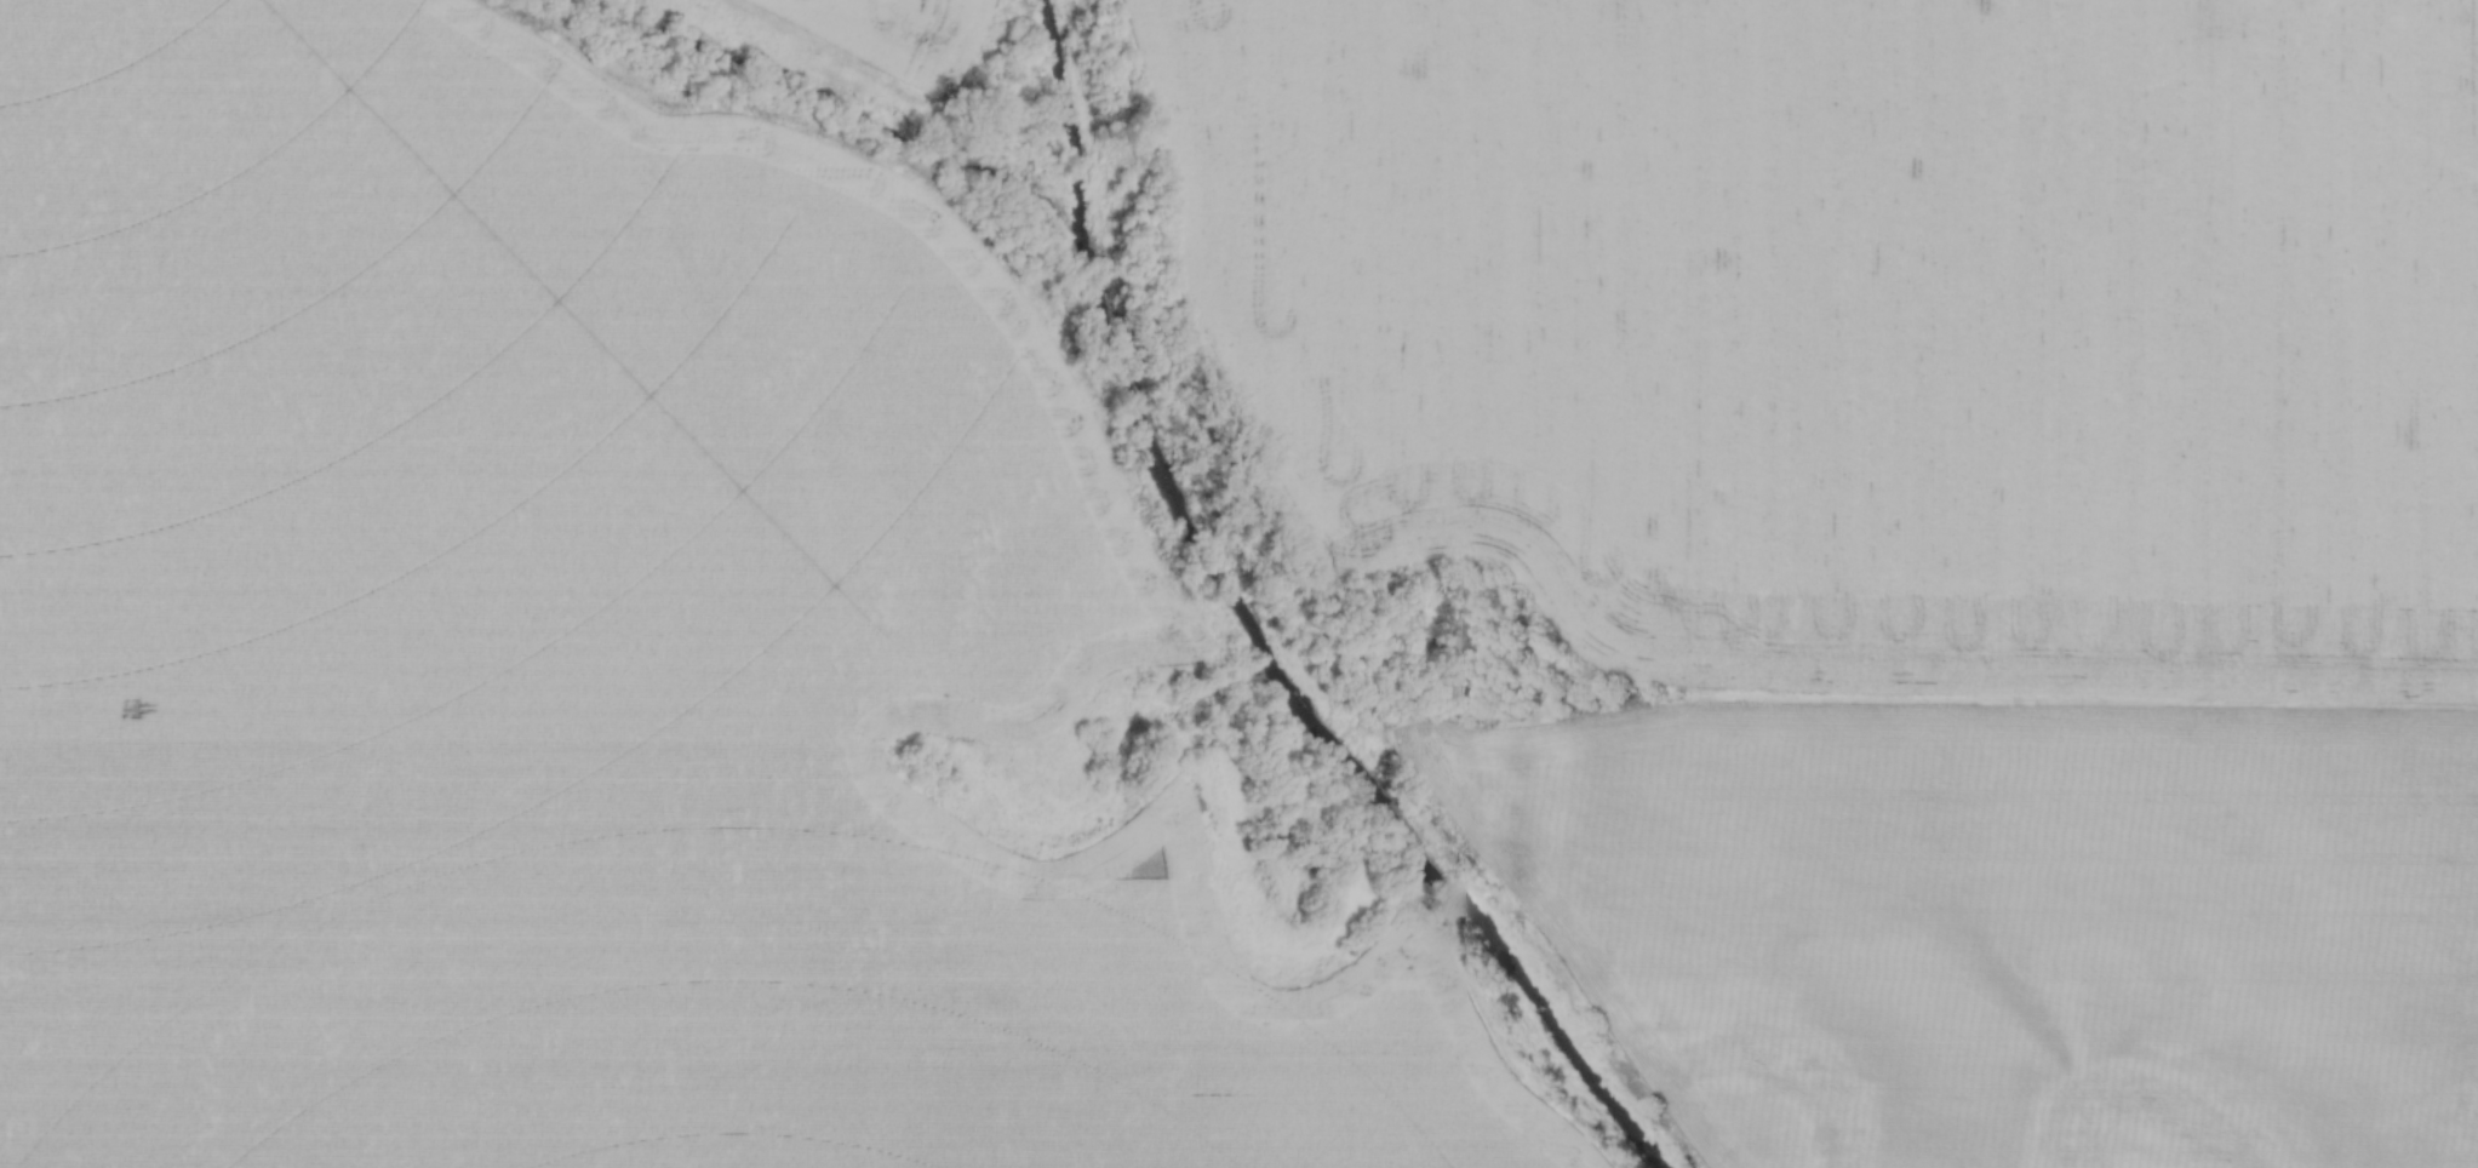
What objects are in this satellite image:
river: (1270, 628)

